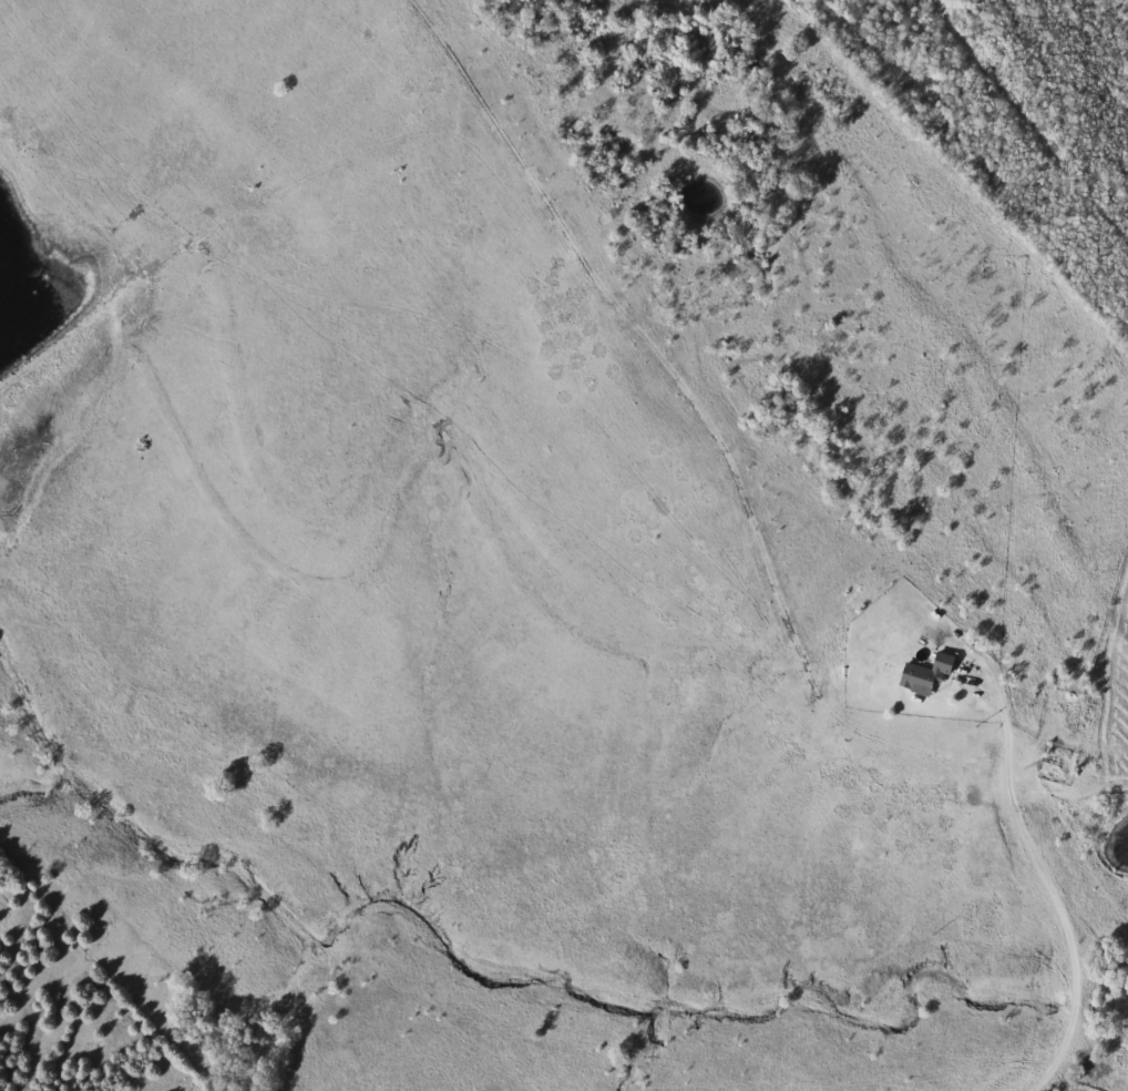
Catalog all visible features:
building: (923, 674)
road: (1049, 879)

